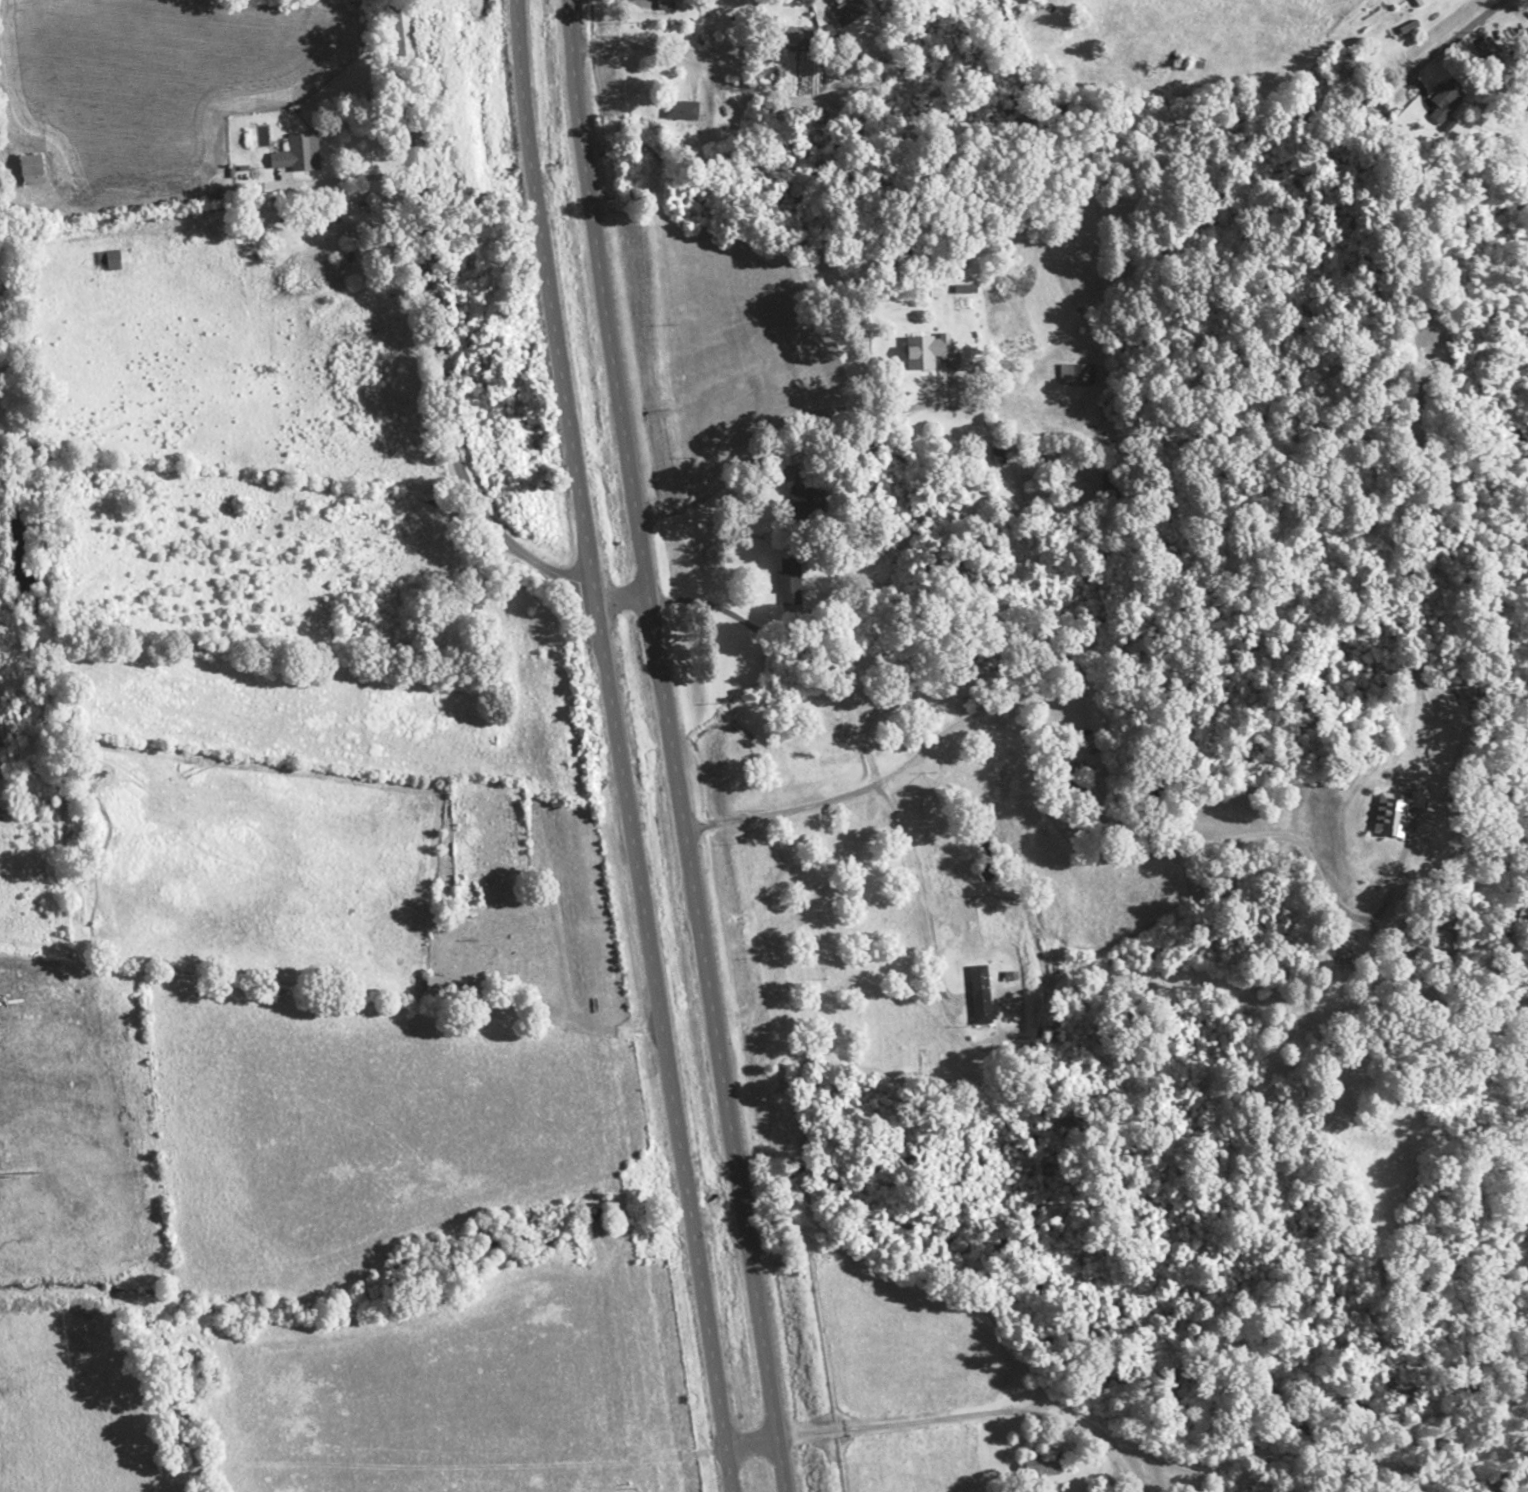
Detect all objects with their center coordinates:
building: (663, 1)
building: (1416, 2)
building: (846, 11)
building: (1485, 48)
road: (1454, 76)
building: (1447, 102)
building: (284, 159)
building: (30, 169)
building: (112, 262)
road: (551, 295)
road: (603, 298)
building: (928, 348)
road: (434, 355)
building: (489, 966)
road: (713, 1016)
road: (662, 1041)
power tower: (17, 1174)
road: (753, 1441)
building: (1039, 1463)
road: (784, 1464)

